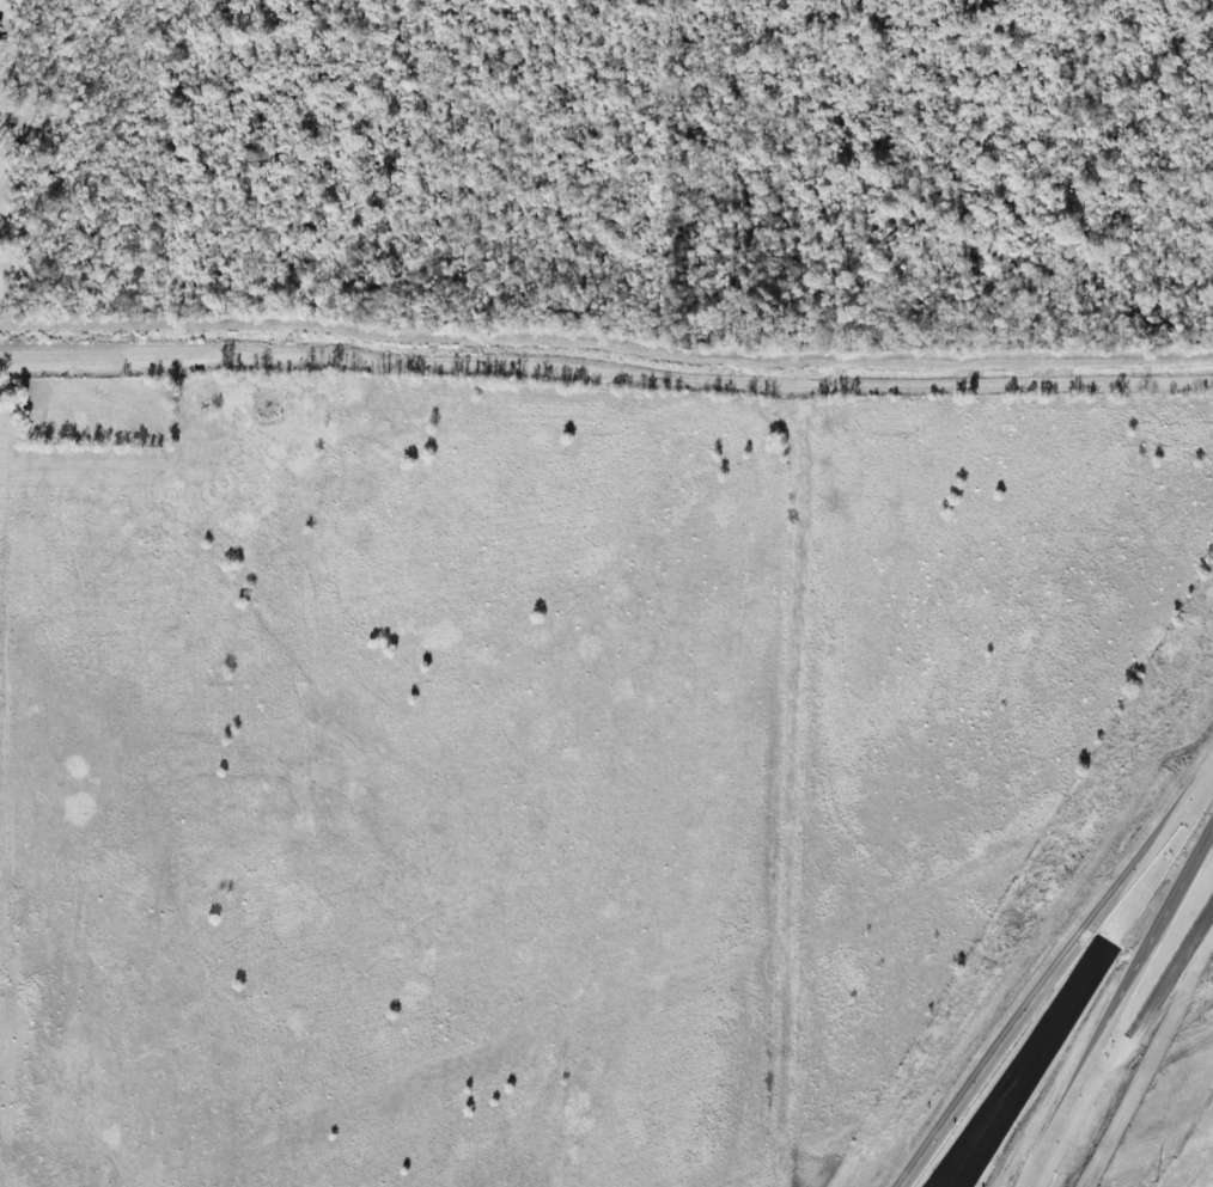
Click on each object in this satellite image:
road: (1159, 855)
road: (1140, 993)
road: (1022, 1065)
road: (1030, 1065)
road: (1047, 1146)
road: (1043, 1148)

